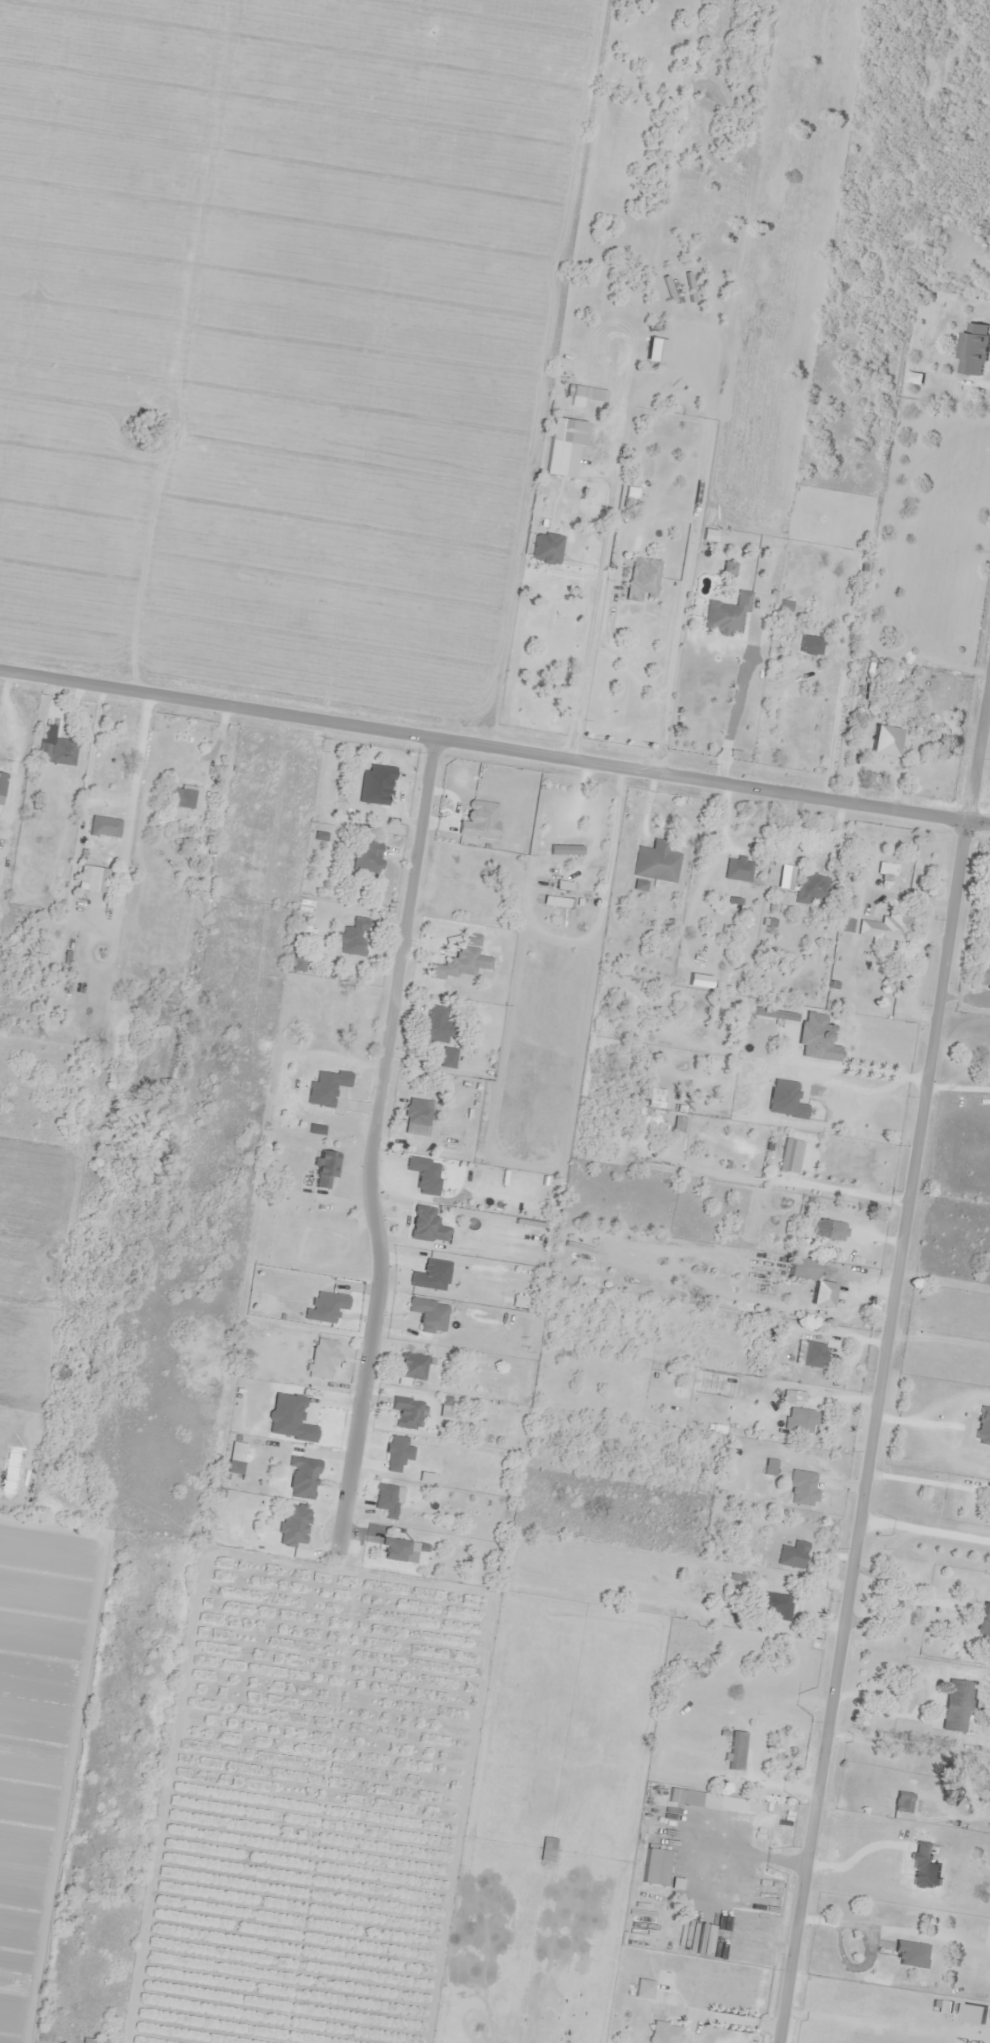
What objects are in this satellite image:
road: (164, 13)
building: (971, 348)
building: (577, 391)
building: (559, 458)
building: (546, 547)
building: (641, 578)
building: (726, 613)
building: (883, 740)
road: (495, 743)
building: (56, 750)
building: (2, 782)
building: (376, 785)
building: (181, 796)
building: (479, 819)
building: (103, 826)
building: (564, 849)
building: (367, 857)
building: (656, 861)
building: (737, 869)
building: (810, 887)
building: (845, 924)
building: (888, 925)
building: (352, 937)
building: (297, 962)
building: (458, 964)
building: (982, 975)
building: (433, 1023)
road: (386, 1032)
building: (447, 1057)
building: (417, 1111)
building: (324, 1168)
building: (426, 1224)
building: (829, 1228)
building: (810, 1278)
building: (813, 1353)
road: (894, 1356)
building: (322, 1357)
building: (411, 1364)
building: (792, 1396)
building: (406, 1412)
building: (802, 1419)
building: (301, 1477)
building: (802, 1487)
building: (792, 1554)
building: (777, 1604)
building: (984, 1619)
building: (957, 1704)
building: (735, 1750)
building: (674, 1794)
building: (902, 1801)
building: (547, 1848)
building: (653, 1865)
building: (971, 1953)
building: (642, 1988)
building: (663, 2032)
building: (94, 2040)

